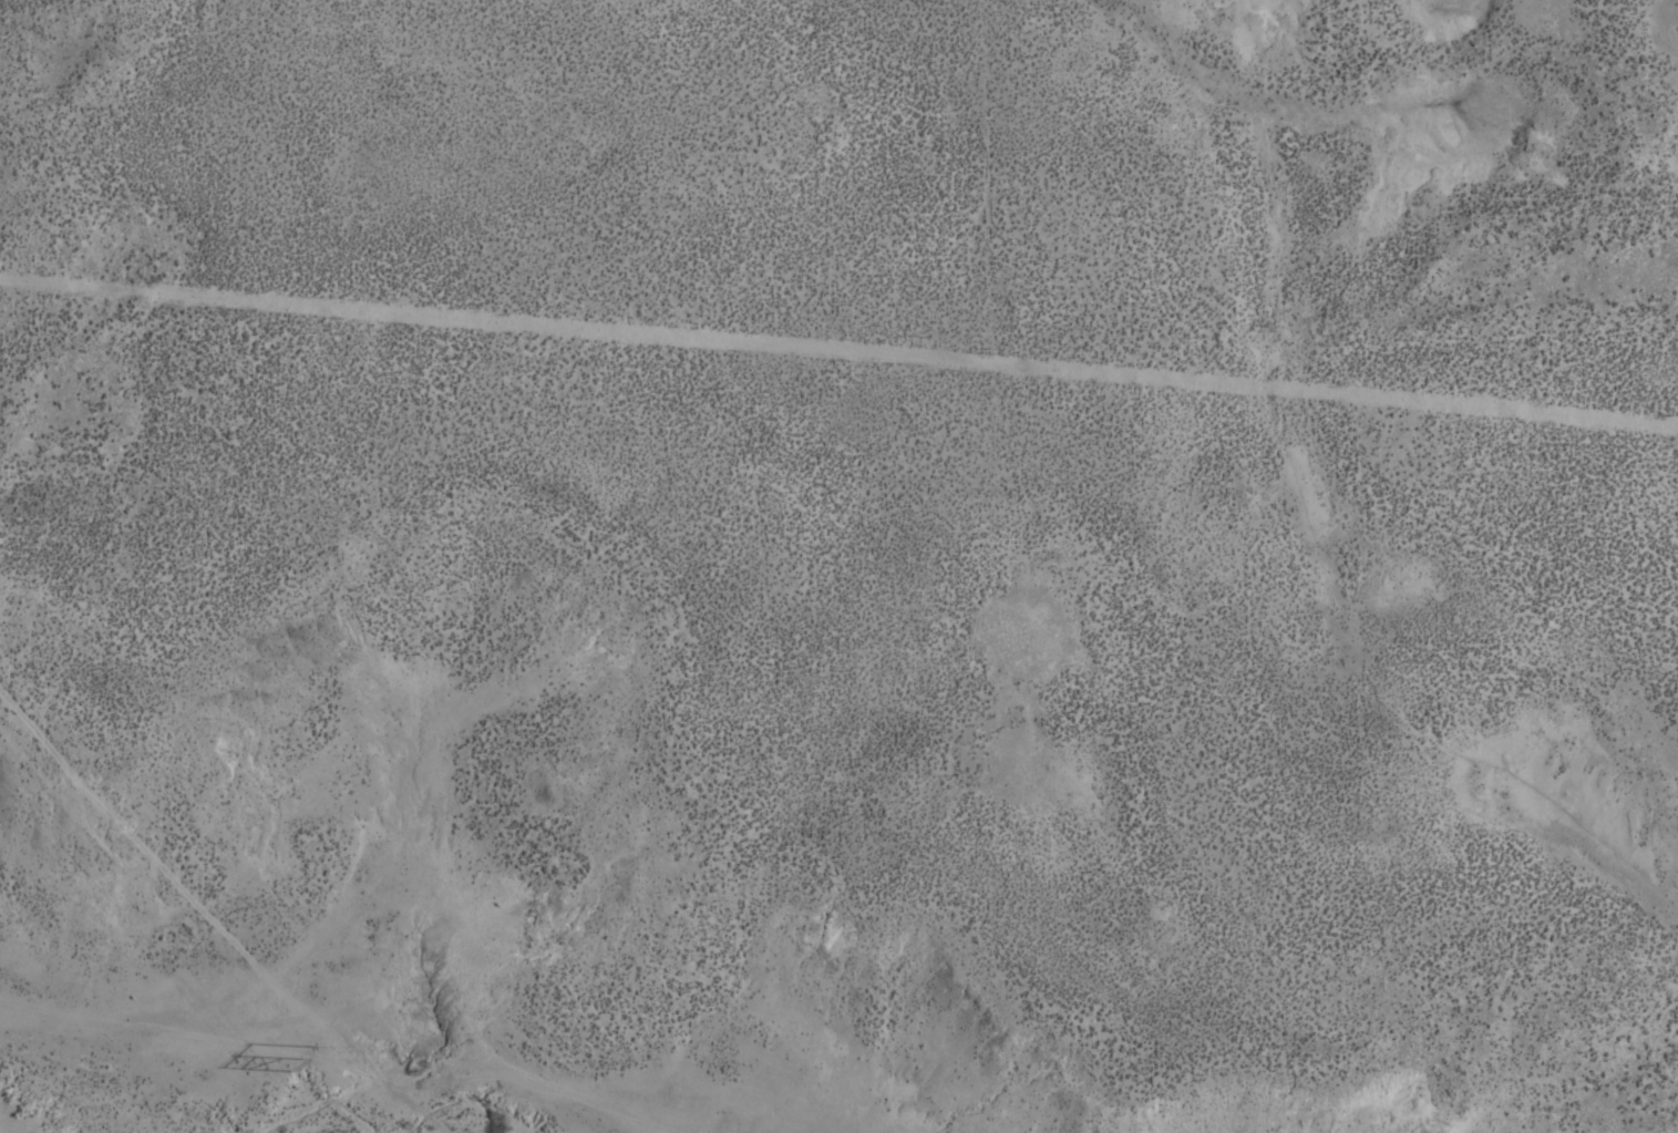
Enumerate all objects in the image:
power tower: (291, 1060)
river: (384, 1103)

